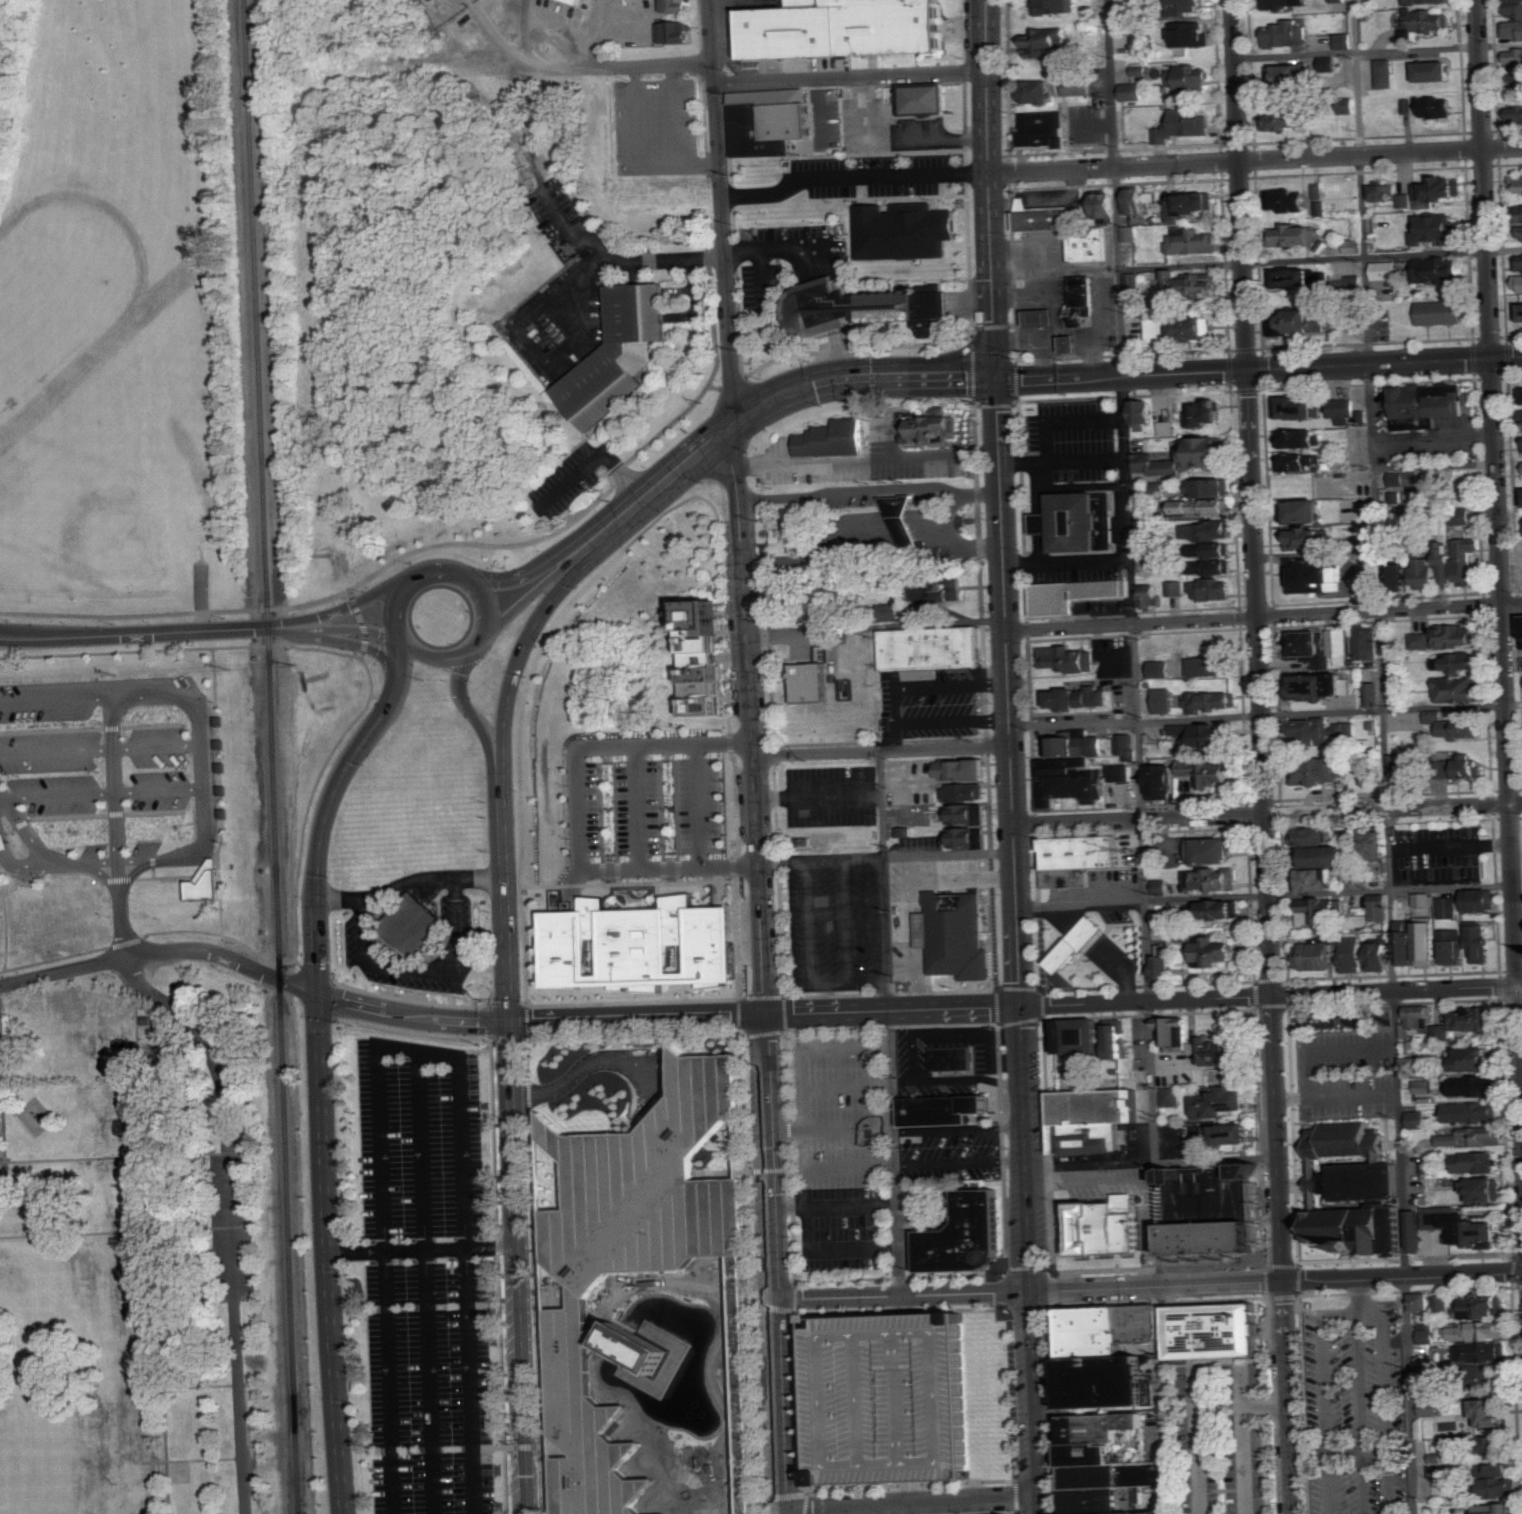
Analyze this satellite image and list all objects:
building: (1508, 0)
building: (581, 1)
building: (1340, 1)
building: (1428, 1)
building: (1286, 3)
building: (676, 6)
building: (1056, 6)
building: (1187, 6)
building: (1427, 21)
building: (1514, 23)
building: (837, 29)
building: (675, 32)
building: (1192, 33)
building: (1288, 34)
road: (500, 39)
building: (1344, 41)
building: (1047, 42)
road: (1500, 44)
road: (1295, 54)
road: (536, 55)
building: (1514, 57)
road: (617, 65)
building: (1436, 70)
building: (1140, 71)
building: (1388, 73)
road: (852, 76)
building: (1291, 76)
building: (1192, 78)
building: (1518, 81)
building: (1081, 86)
building: (1035, 91)
building: (1135, 92)
building: (920, 98)
building: (1437, 106)
building: (1516, 114)
building: (1289, 119)
building: (783, 122)
building: (1185, 124)
road: (1093, 125)
building: (1044, 129)
road: (899, 139)
road: (1255, 161)
road: (854, 179)
road: (1484, 179)
building: (1518, 183)
road: (989, 190)
building: (1438, 190)
building: (1319, 191)
building: (1385, 191)
building: (1289, 199)
building: (1135, 200)
building: (1406, 200)
building: (1190, 204)
building: (1104, 207)
building: (1321, 208)
building: (1039, 216)
building: (1436, 228)
building: (904, 231)
building: (1131, 233)
building: (1296, 234)
building: (1193, 241)
building: (1085, 244)
building: (1354, 246)
road: (785, 249)
parking lot: (788, 259)
building: (1519, 261)
road: (1257, 262)
road: (635, 264)
building: (1385, 270)
building: (1440, 270)
building: (1306, 277)
building: (1133, 282)
building: (1192, 283)
building: (1519, 283)
road: (764, 284)
building: (1082, 300)
building: (859, 308)
building: (1520, 311)
park: (126, 312)
road: (712, 312)
building: (1441, 312)
building: (1044, 317)
building: (1293, 321)
building: (1180, 328)
building: (1073, 343)
building: (615, 353)
road: (1507, 358)
road: (1244, 372)
traffic signals: (996, 380)
building: (1431, 398)
road: (766, 406)
building: (1298, 408)
building: (1145, 412)
building: (1348, 412)
building: (1206, 413)
building: (930, 426)
building: (1167, 428)
building: (830, 438)
building: (1299, 438)
road: (1433, 439)
parking lot: (1073, 443)
building: (1208, 451)
road: (868, 459)
building: (1298, 461)
building: (1155, 464)
building: (1405, 478)
building: (1212, 487)
building: (1160, 488)
road: (871, 491)
road: (1253, 497)
building: (1396, 499)
road: (740, 506)
building: (1204, 506)
building: (1308, 511)
building: (1144, 513)
building: (1462, 516)
road: (948, 519)
building: (1075, 520)
building: (900, 521)
road: (875, 528)
building: (1207, 531)
building: (1307, 538)
road: (540, 539)
building: (1220, 550)
road: (874, 559)
building: (1469, 559)
road: (1003, 563)
building: (1445, 564)
building: (1212, 567)
road: (528, 570)
building: (1424, 572)
building: (1399, 574)
building: (1318, 577)
road: (412, 578)
building: (1175, 588)
building: (1212, 589)
building: (944, 590)
road: (534, 592)
building: (1069, 593)
building: (1150, 595)
road: (202, 598)
road: (352, 608)
building: (893, 612)
road: (1264, 618)
road: (360, 624)
road: (876, 625)
road: (352, 632)
road: (152, 634)
building: (1456, 637)
building: (1421, 641)
road: (1136, 642)
building: (1339, 642)
road: (478, 643)
building: (1368, 643)
building: (1308, 644)
road: (409, 647)
building: (928, 647)
road: (524, 648)
building: (695, 656)
building: (1069, 659)
building: (1456, 662)
building: (1209, 666)
building: (1161, 669)
building: (808, 681)
building: (1322, 685)
building: (1460, 689)
building: (1376, 695)
building: (1081, 697)
road: (97, 700)
building: (1165, 700)
building: (1212, 702)
road: (900, 706)
parking lot: (934, 706)
road: (468, 711)
road: (1266, 715)
building: (1457, 726)
road: (1507, 729)
building: (1324, 731)
building: (1204, 734)
road: (898, 737)
building: (1127, 745)
building: (1097, 746)
road: (99, 747)
building: (1062, 747)
road: (882, 751)
road: (1384, 756)
railway: (271, 757)
road: (347, 761)
parking lot: (100, 763)
building: (1465, 768)
building: (964, 769)
building: (1405, 771)
building: (1320, 772)
building: (1125, 773)
building: (1209, 773)
road: (321, 775)
road: (200, 776)
building: (1163, 781)
road: (113, 782)
building: (1068, 787)
road: (100, 791)
building: (965, 792)
parking lot: (832, 796)
road: (697, 803)
road: (637, 804)
parking lot: (646, 804)
road: (882, 804)
road: (576, 806)
road: (1267, 812)
building: (967, 814)
road: (503, 817)
building: (904, 832)
building: (1313, 835)
building: (967, 837)
building: (3, 841)
building: (1372, 845)
road: (1450, 847)
building: (1214, 850)
road: (949, 853)
parking lot: (1437, 854)
building: (1327, 856)
building: (1075, 857)
road: (821, 858)
road: (44, 860)
road: (157, 860)
building: (1355, 875)
road: (1015, 877)
building: (1214, 880)
building: (1316, 880)
road: (411, 881)
building: (208, 882)
building: (1161, 887)
road: (1265, 896)
building: (1425, 899)
building: (1480, 900)
building: (1380, 907)
building: (1449, 908)
building: (1221, 909)
road: (121, 910)
building: (1319, 911)
building: (1164, 917)
building: (410, 925)
parking lot: (834, 928)
road: (885, 933)
building: (955, 934)
building: (1073, 942)
building: (1404, 942)
road: (317, 943)
building: (1480, 943)
building: (631, 944)
building: (1429, 944)
building: (1452, 947)
road: (508, 949)
building: (1215, 952)
building: (1353, 955)
building: (1314, 956)
building: (1379, 957)
road: (224, 958)
road: (424, 967)
building: (1165, 967)
road: (63, 971)
road: (1395, 990)
road: (1144, 1001)
road: (953, 1009)
road: (413, 1012)
road: (826, 1012)
building: (1418, 1016)
road: (638, 1018)
building: (1473, 1020)
road: (1254, 1022)
traffic signals: (511, 1023)
building: (1170, 1029)
road: (952, 1032)
building: (1441, 1032)
road: (1006, 1036)
building: (1076, 1036)
building: (1112, 1037)
road: (202, 1043)
building: (1212, 1048)
road: (415, 1050)
road: (992, 1057)
building: (1474, 1058)
building: (951, 1059)
building: (1414, 1067)
road: (575, 1071)
road: (939, 1079)
park: (157, 1081)
road: (903, 1082)
building: (1424, 1086)
building: (1471, 1086)
building: (1169, 1095)
building: (1214, 1102)
building: (937, 1109)
building: (1473, 1112)
road: (124, 1118)
building: (1094, 1120)
building: (1418, 1120)
building: (1223, 1132)
road: (127, 1137)
building: (1475, 1137)
building: (737, 1140)
road: (4, 1142)
road: (1025, 1149)
parking lot: (846, 1152)
road: (892, 1153)
road: (131, 1155)
road: (770, 1157)
building: (1475, 1163)
building: (541, 1173)
building: (1356, 1189)
building: (1486, 1190)
building: (1209, 1210)
road: (143, 1225)
building: (1101, 1225)
parking lot: (232, 1226)
road: (233, 1226)
building: (1466, 1228)
road: (126, 1230)
building: (1417, 1232)
building: (960, 1235)
road: (422, 1249)
road: (327, 1253)
road: (1279, 1254)
building: (630, 1264)
road: (518, 1268)
parking lot: (424, 1278)
road: (1340, 1279)
road: (426, 1282)
building: (546, 1286)
road: (1096, 1288)
road: (903, 1295)
road: (1359, 1296)
road: (194, 1300)
building: (1421, 1302)
building: (1443, 1304)
building: (1485, 1308)
road: (1350, 1314)
building: (1496, 1330)
building: (1211, 1332)
building: (1427, 1337)
building: (1476, 1345)
building: (1103, 1356)
road: (1384, 1381)
road: (198, 1384)
building: (741, 1388)
building: (896, 1392)
parking lot: (896, 1392)
road: (1164, 1400)
road: (1263, 1400)
road: (1037, 1402)
road: (241, 1406)
road: (778, 1406)
parking lot: (1353, 1406)
building: (1442, 1408)
building: (1491, 1412)
road: (1324, 1414)
road: (1360, 1414)
road: (1242, 1441)
road: (1196, 1442)
building: (552, 1446)
building: (1496, 1447)
road: (1370, 1448)
road: (201, 1458)
building: (1103, 1467)
building: (1504, 1481)
road: (913, 1501)
road: (913, 1507)
building: (1498, 1508)
building: (659, 1513)

